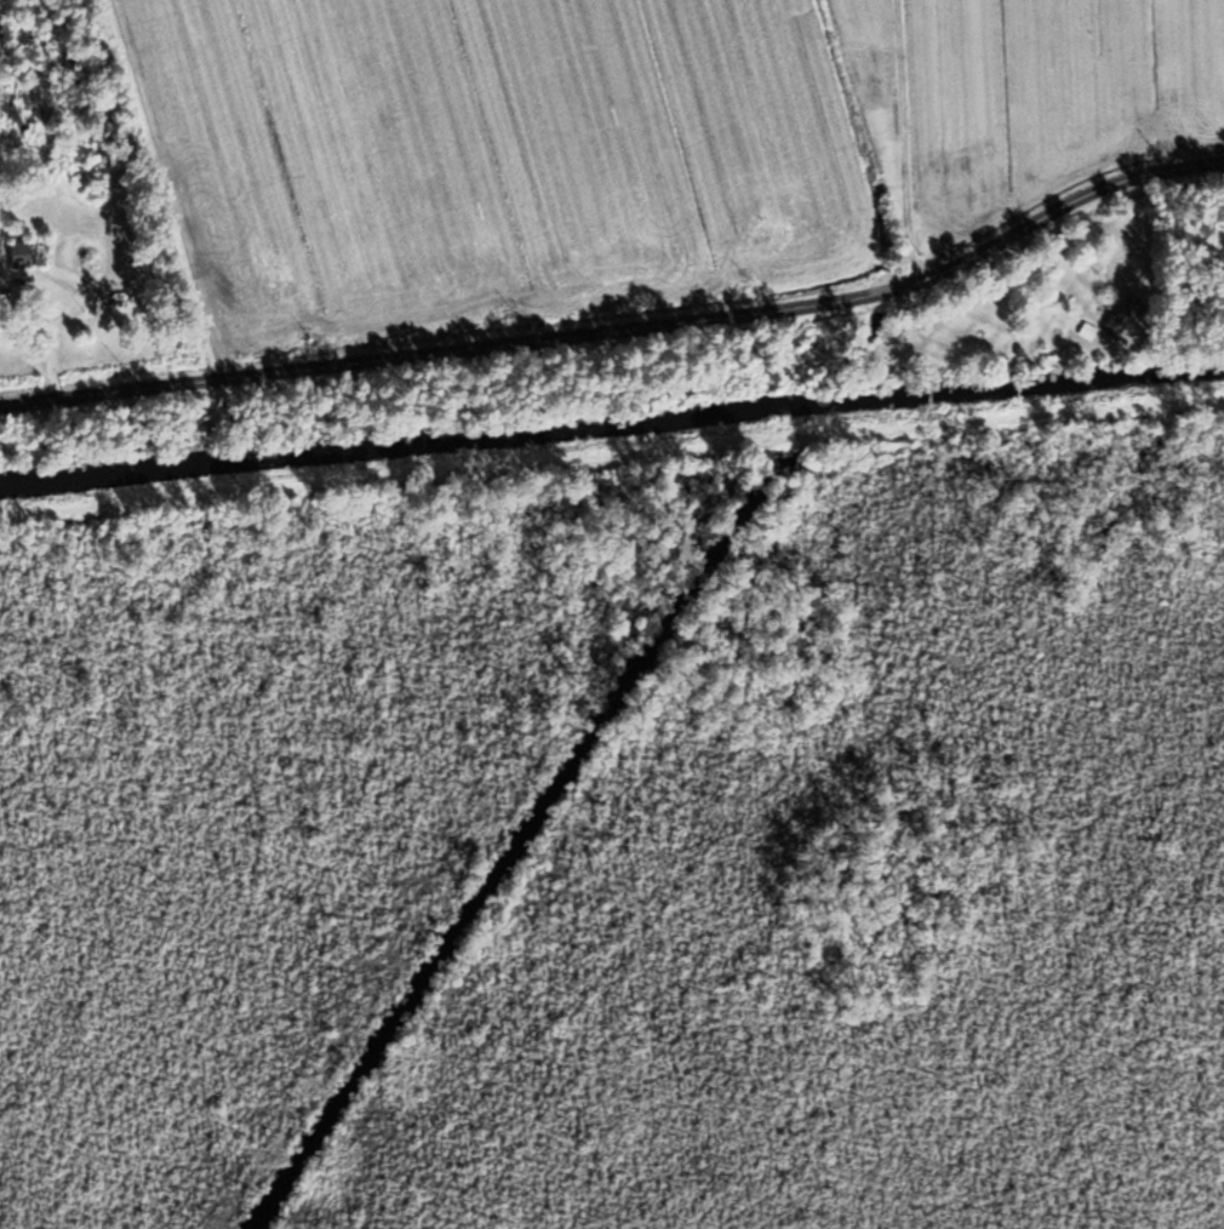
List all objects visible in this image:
crop: (862, 45)
crop: (1047, 93)
crop: (487, 155)
building: (34, 252)
building: (1120, 314)
road: (624, 333)

